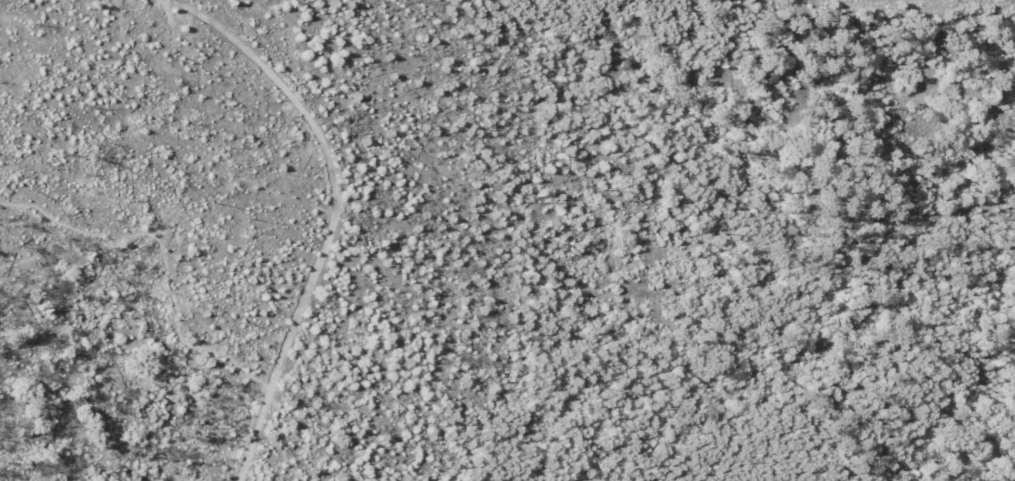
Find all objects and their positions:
road: (910, 1)
road: (327, 216)
park: (507, 240)
road: (172, 302)
road: (431, 470)

